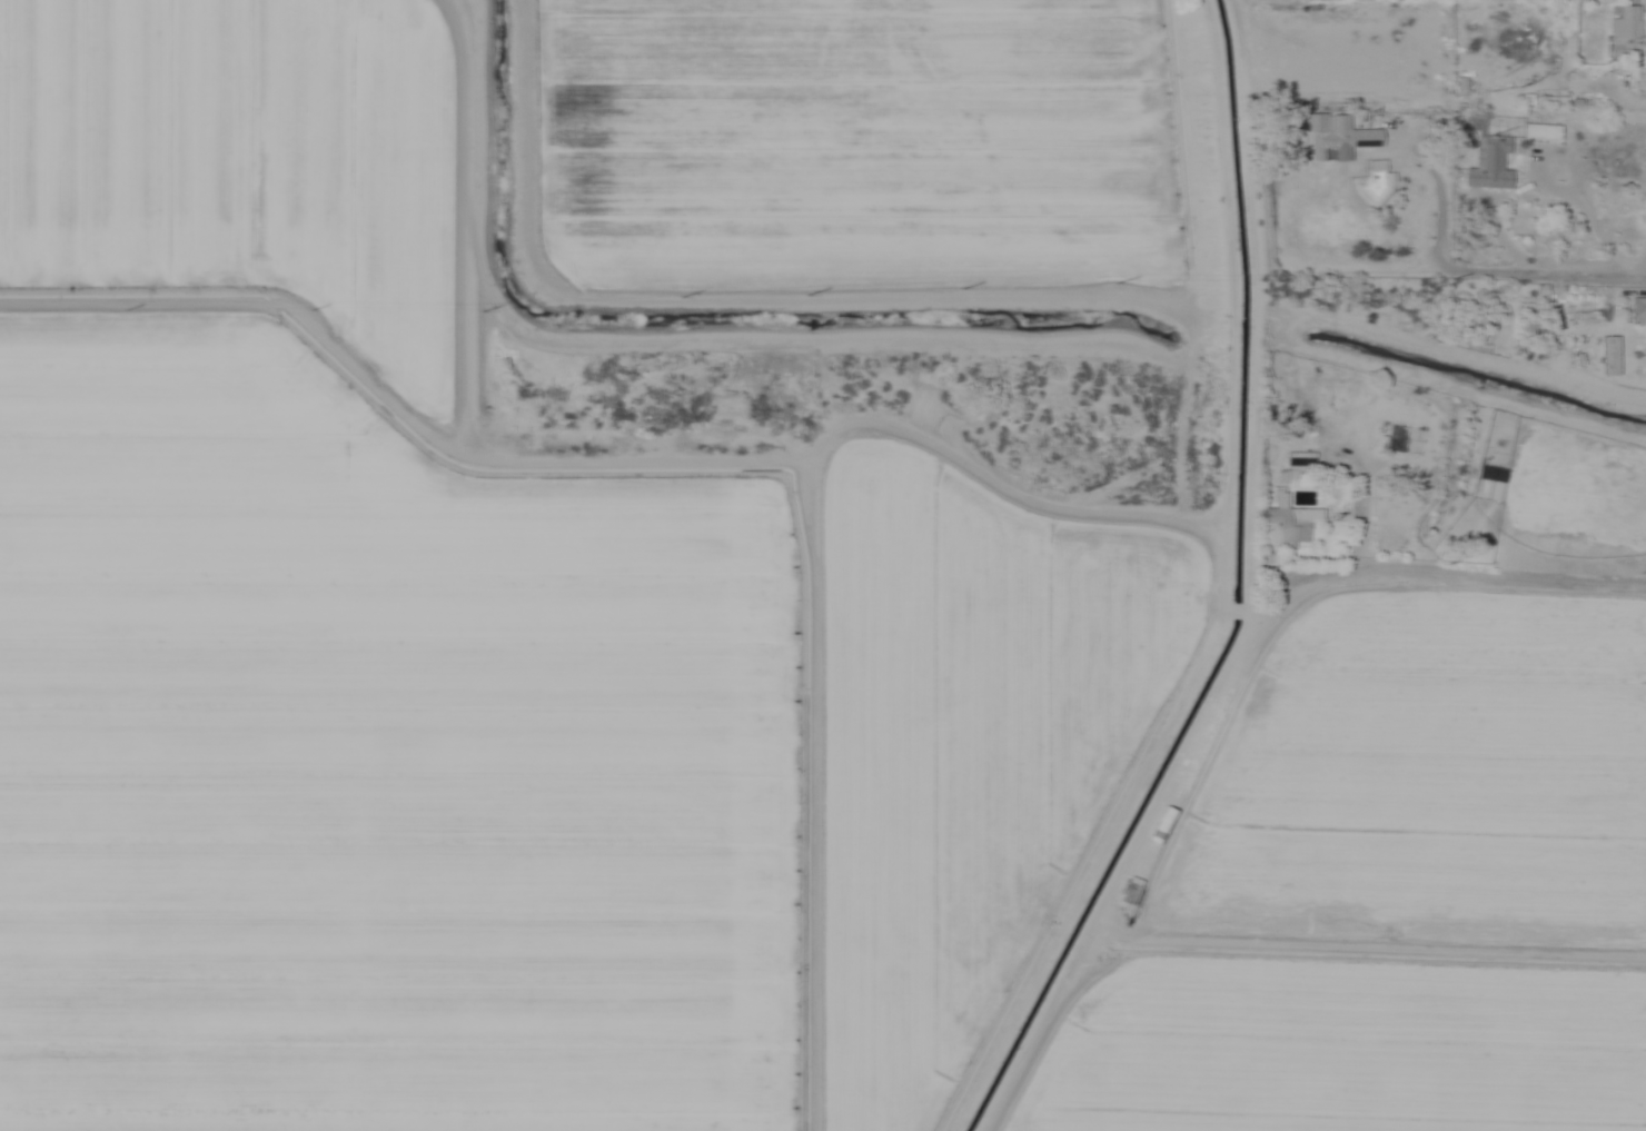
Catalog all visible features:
building: (1626, 27)
building: (1539, 132)
building: (1336, 137)
building: (1489, 166)
building: (1637, 309)
building: (1588, 316)
building: (1637, 365)
building: (1489, 475)
building: (1296, 526)

